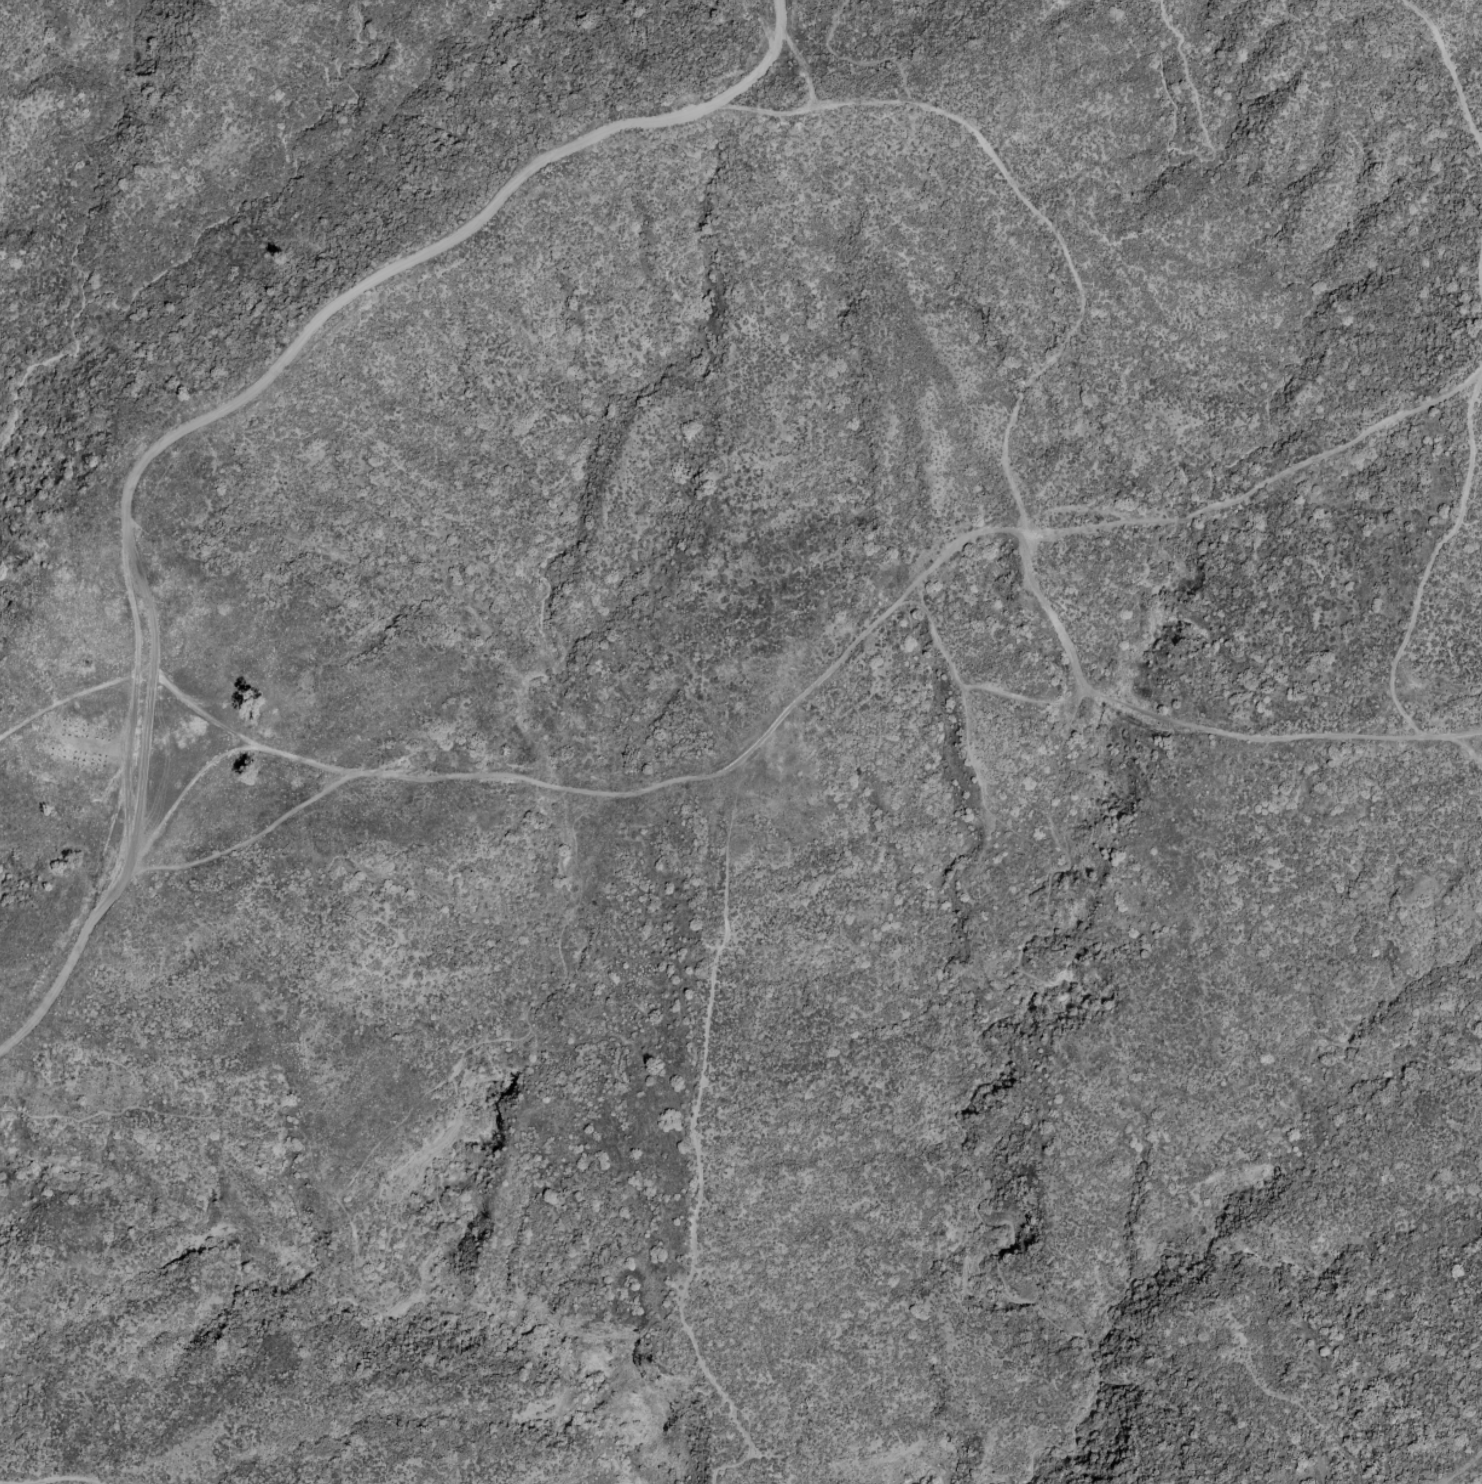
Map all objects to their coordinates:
road: (231, 375)
road: (91, 1049)

